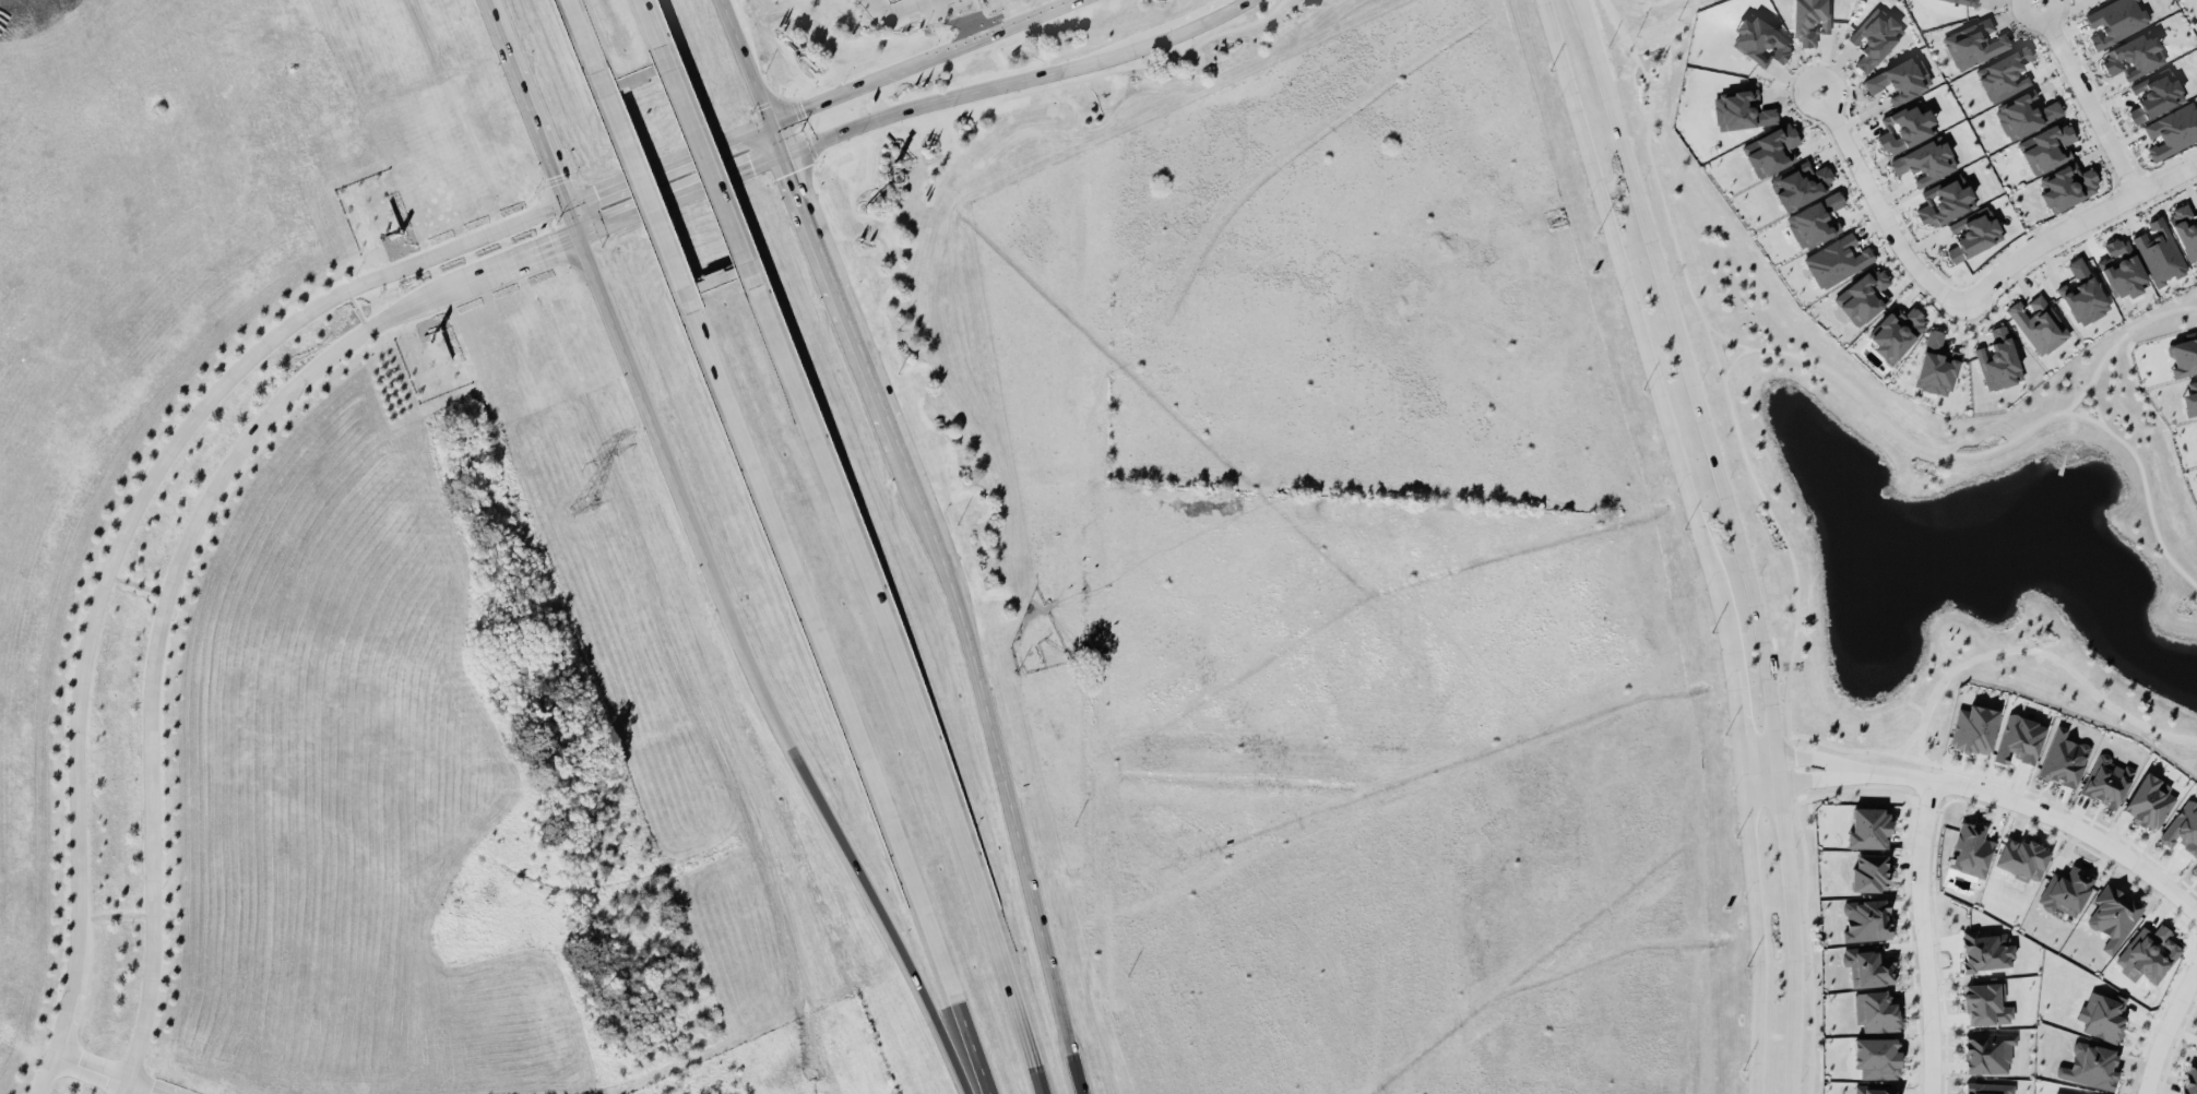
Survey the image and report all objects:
building: (893, 1)
road: (895, 1)
building: (1966, 1)
road: (898, 7)
road: (896, 11)
road: (969, 19)
building: (1809, 20)
building: (2115, 20)
road: (649, 22)
road: (584, 35)
building: (1874, 37)
building: (1760, 40)
building: (1973, 43)
road: (962, 44)
building: (2134, 56)
road: (745, 61)
building: (2003, 73)
road: (1013, 78)
building: (1900, 79)
building: (2154, 94)
road: (2086, 96)
road: (523, 100)
road: (811, 105)
traffic signals: (804, 108)
building: (1742, 109)
building: (2024, 114)
building: (1905, 127)
building: (2172, 130)
road: (741, 133)
road: (775, 138)
building: (2045, 146)
building: (1770, 150)
building: (1924, 160)
road: (706, 165)
traffic signals: (752, 166)
traffic signals: (789, 173)
road: (638, 174)
traffic signals: (553, 175)
building: (1800, 183)
building: (2067, 186)
traffic signals: (597, 190)
road: (645, 190)
road: (679, 194)
building: (1945, 200)
road: (1879, 206)
road: (570, 219)
building: (1814, 221)
road: (2074, 225)
building: (2185, 228)
traffic signals: (551, 246)
building: (2159, 251)
road: (513, 260)
building: (1836, 260)
building: (2123, 269)
building: (2083, 293)
building: (1863, 296)
road: (840, 300)
building: (2038, 323)
road: (2131, 326)
building: (1896, 332)
road: (1640, 334)
road: (1726, 336)
building: (2183, 357)
building: (1997, 359)
building: (1936, 364)
road: (1722, 373)
road: (2078, 396)
building: (2190, 399)
road: (642, 402)
road: (2093, 403)
road: (1991, 445)
power tower: (582, 507)
road: (121, 534)
road: (1736, 538)
road: (158, 628)
road: (1981, 655)
road: (907, 687)
road: (844, 701)
road: (1734, 715)
road: (989, 725)
building: (1973, 728)
building: (2019, 738)
road: (1791, 754)
building: (2063, 758)
road: (1741, 772)
road: (1793, 778)
building: (2106, 781)
building: (2149, 800)
road: (2032, 805)
road: (826, 811)
building: (1868, 828)
building: (2183, 828)
building: (1970, 848)
building: (2021, 858)
building: (2196, 866)
building: (1868, 872)
building: (2067, 892)
building: (2113, 915)
building: (1866, 919)
road: (1922, 935)
road: (1757, 938)
building: (1985, 950)
building: (2147, 953)
building: (1867, 966)
building: (1986, 1003)
building: (1875, 1011)
building: (2102, 1013)
road: (2166, 1027)
building: (2196, 1047)
road: (1070, 1051)
building: (1987, 1051)
building: (1877, 1057)
building: (2090, 1066)
road: (107, 1072)
road: (959, 1073)
building: (2189, 1080)
building: (1987, 1087)
building: (1875, 1090)
building: (2065, 1093)

